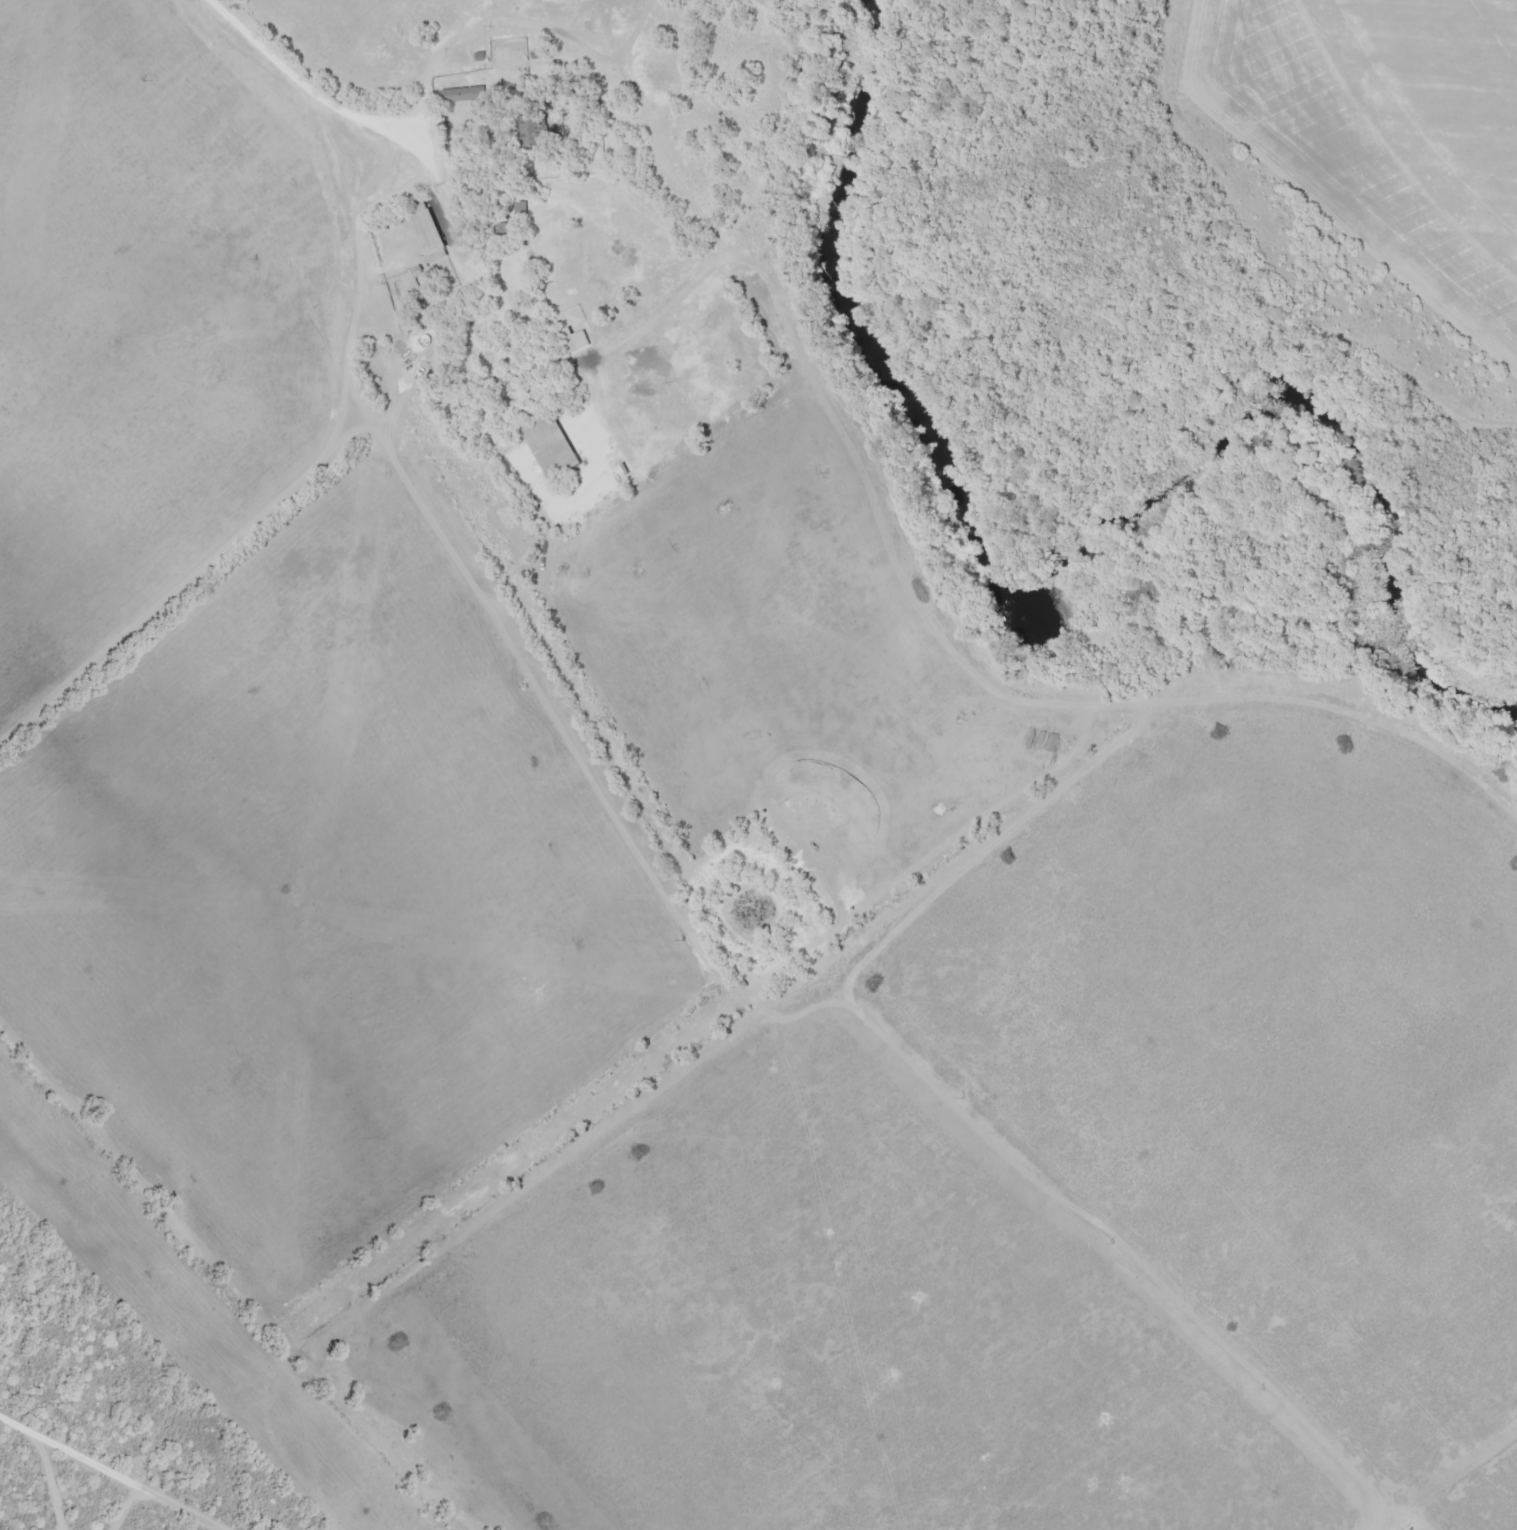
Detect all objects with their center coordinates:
road: (306, 84)
building: (463, 95)
building: (537, 129)
building: (551, 230)
building: (549, 448)
river: (1028, 630)
road: (113, 1470)
road: (47, 1479)

